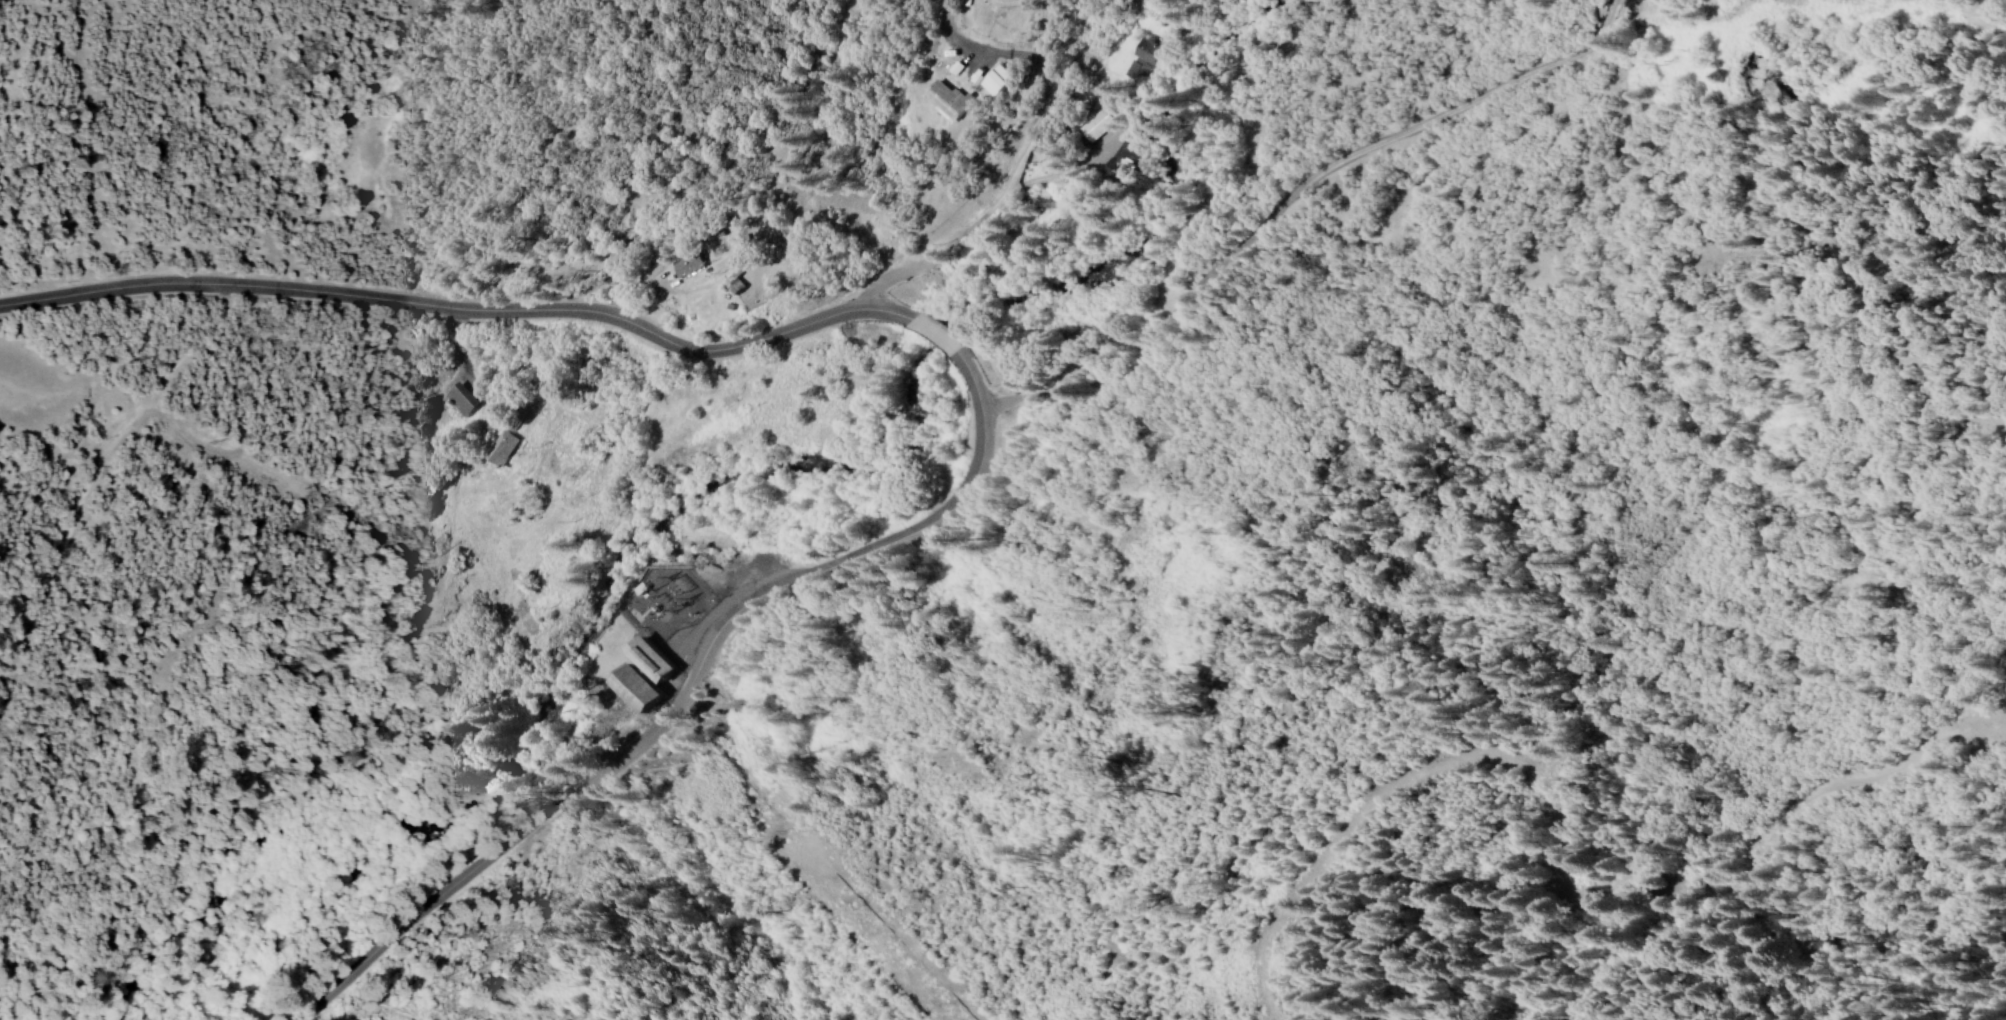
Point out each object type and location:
building: (1142, 62)
river: (1209, 82)
building: (949, 102)
building: (1093, 126)
building: (1117, 164)
road: (1009, 184)
road: (1291, 193)
building: (681, 268)
road: (459, 307)
road: (929, 334)
building: (463, 403)
building: (502, 449)
river: (604, 548)
power substation: (664, 601)
building: (637, 678)
road: (684, 690)

